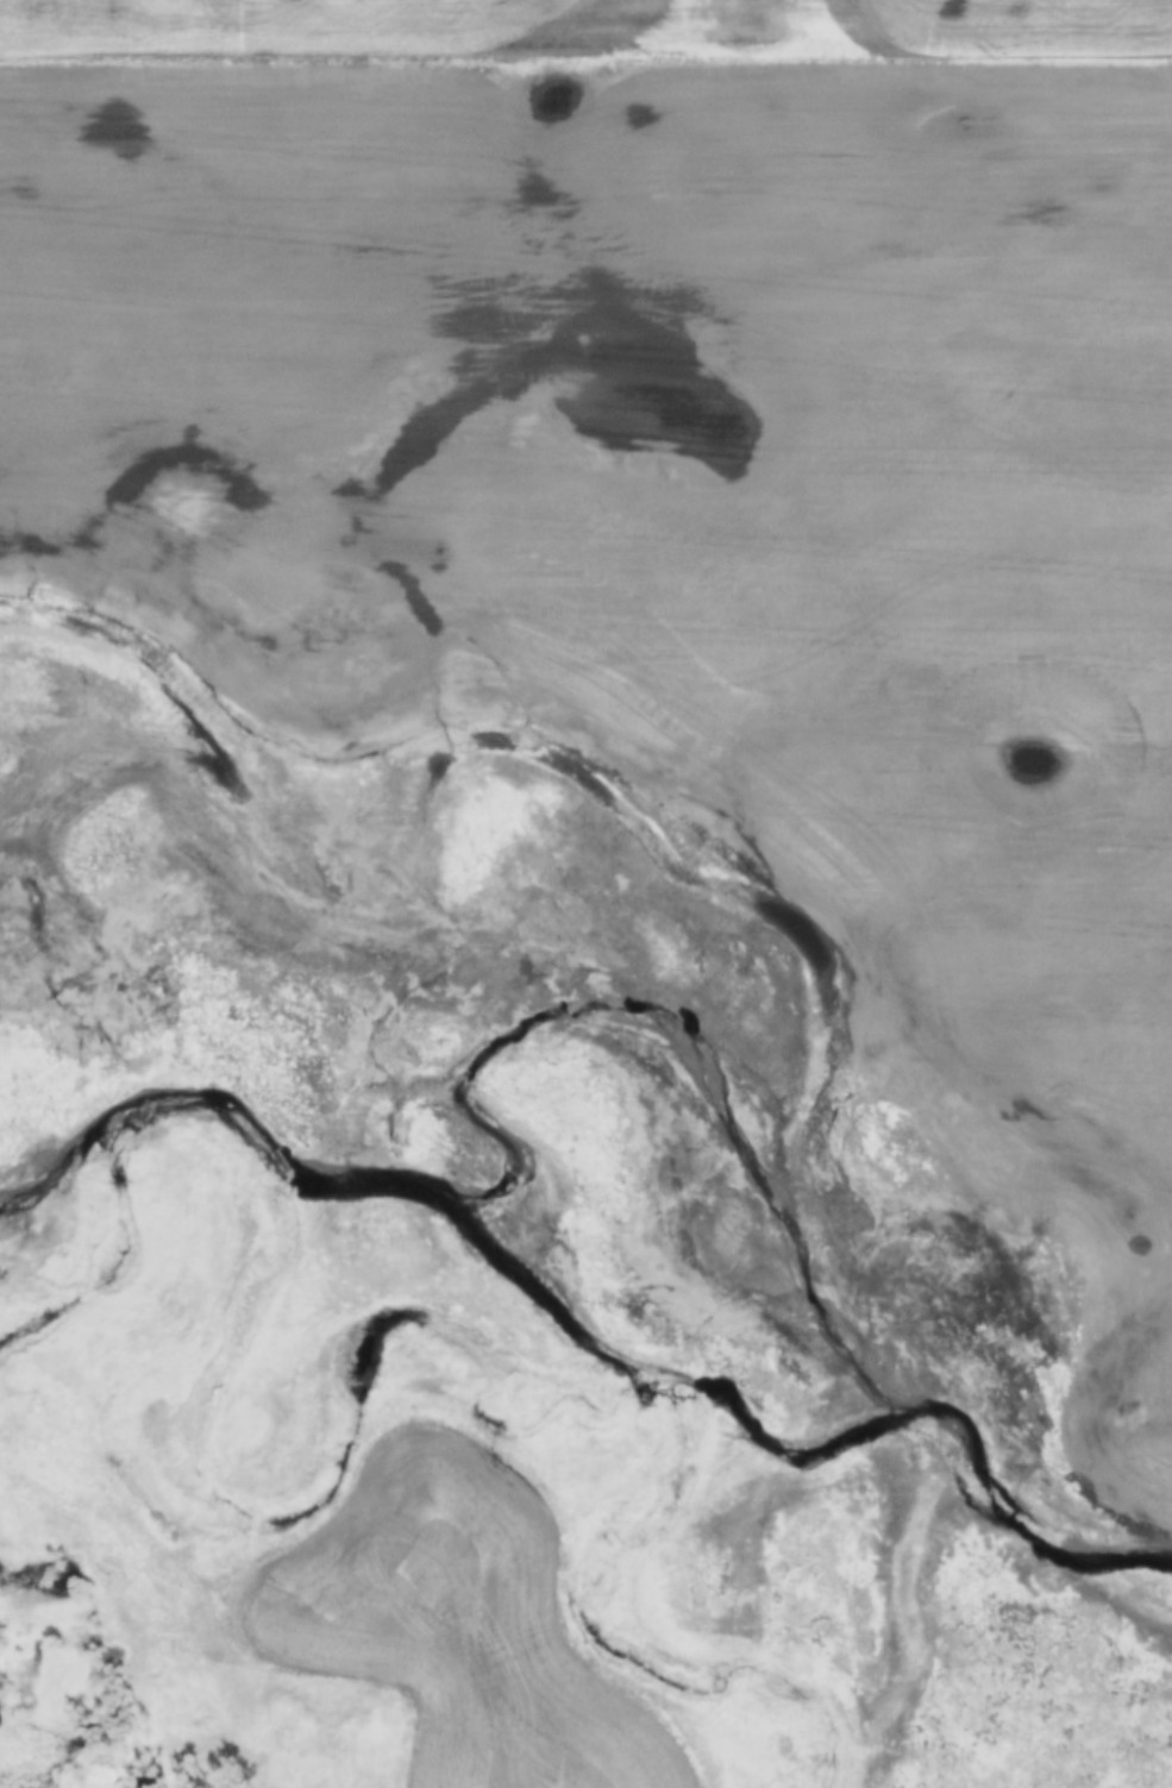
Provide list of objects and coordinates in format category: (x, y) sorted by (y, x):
road: (585, 55)

